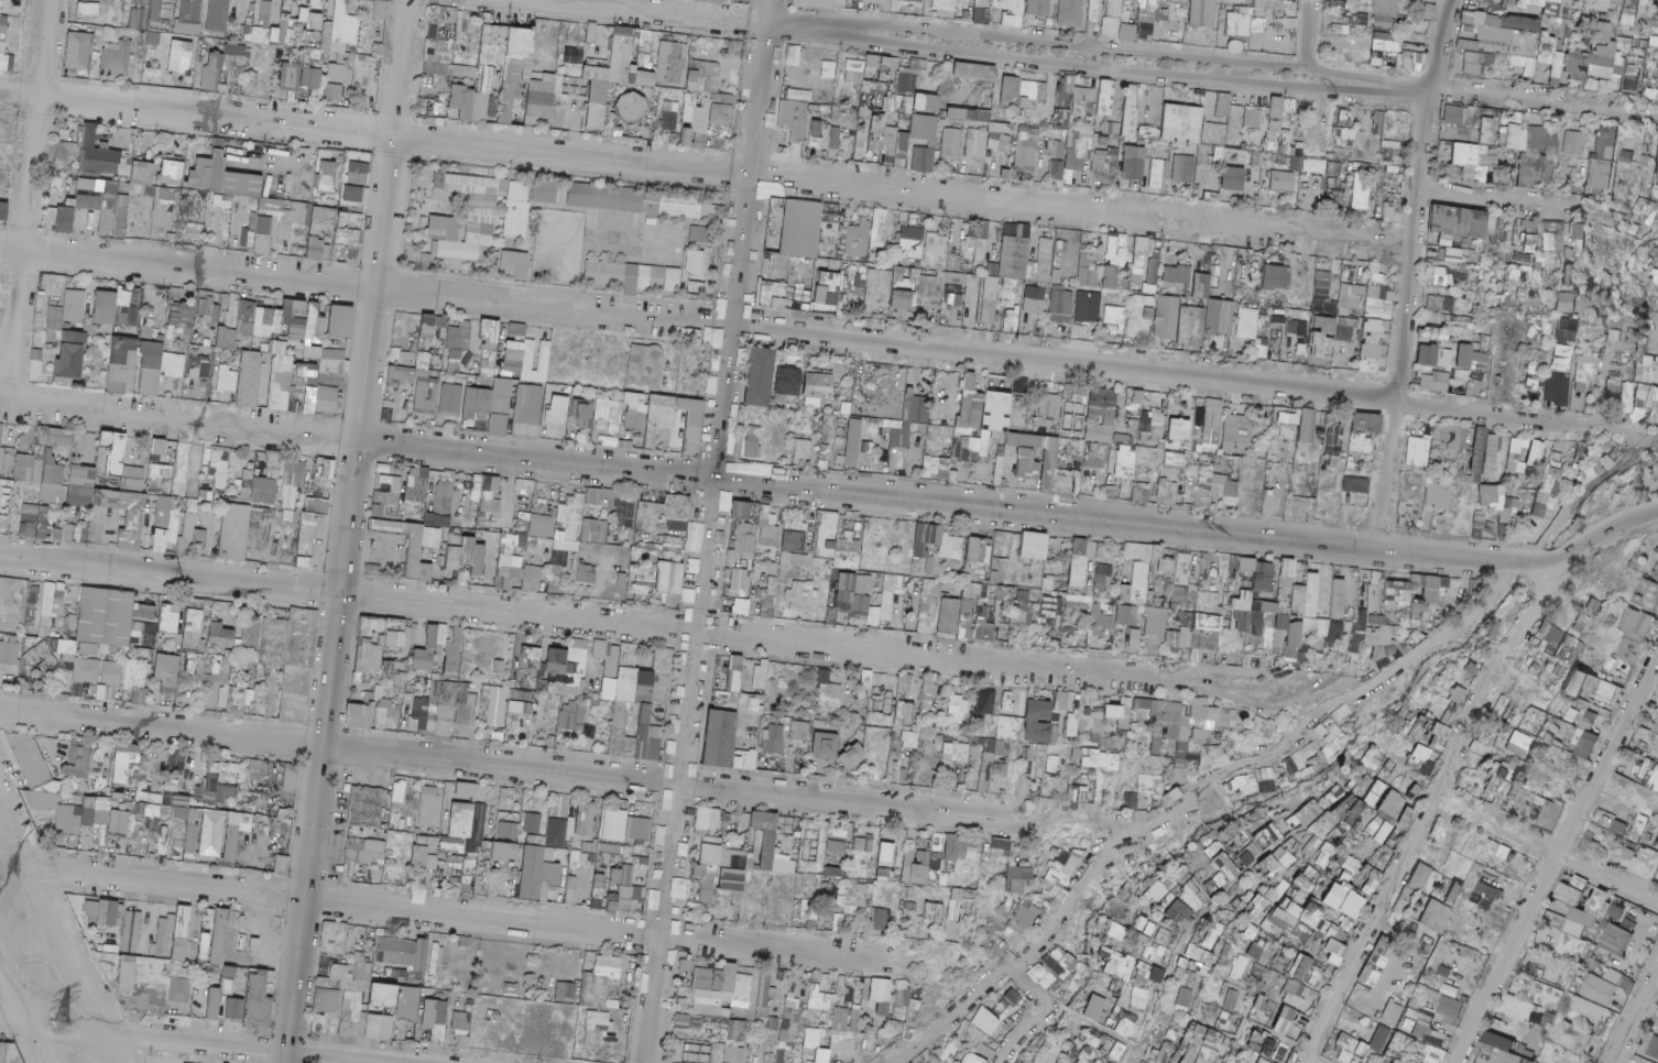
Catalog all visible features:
building: (915, 0)
building: (1493, 0)
building: (0, 1)
building: (141, 1)
building: (709, 1)
building: (1131, 1)
building: (812, 3)
building: (840, 3)
building: (0, 4)
building: (1268, 4)
building: (945, 6)
building: (341, 7)
building: (1038, 8)
building: (1557, 8)
building: (381, 10)
building: (1093, 10)
building: (91, 11)
building: (161, 11)
building: (190, 11)
building: (1630, 11)
building: (981, 12)
building: (1655, 12)
building: (1070, 13)
building: (1203, 13)
building: (1384, 13)
road: (717, 14)
building: (218, 17)
building: (139, 19)
building: (1359, 19)
building: (1011, 21)
building: (1240, 23)
building: (1259, 23)
building: (1520, 23)
building: (309, 24)
building: (262, 28)
building: (1486, 28)
building: (1343, 30)
building: (1602, 32)
building: (591, 33)
road: (1310, 33)
building: (6, 34)
building: (153, 39)
building: (1654, 41)
building: (1468, 45)
building: (1381, 46)
building: (79, 52)
building: (181, 55)
building: (574, 55)
building: (793, 55)
building: (117, 57)
building: (626, 58)
building: (1541, 58)
building: (216, 61)
building: (1411, 62)
building: (239, 63)
building: (672, 63)
building: (1475, 64)
building: (1577, 66)
building: (1601, 66)
building: (1623, 66)
building: (515, 67)
building: (342, 69)
building: (828, 69)
building: (854, 70)
building: (880, 70)
building: (1644, 70)
building: (975, 72)
building: (703, 76)
building: (291, 77)
building: (907, 86)
building: (1010, 90)
building: (1035, 90)
building: (334, 91)
building: (1066, 91)
building: (483, 94)
building: (597, 96)
building: (800, 96)
building: (542, 97)
building: (1105, 97)
building: (724, 99)
building: (462, 101)
building: (1084, 101)
building: (927, 102)
building: (1223, 106)
building: (632, 107)
building: (1130, 111)
building: (1476, 111)
building: (720, 114)
building: (969, 114)
building: (669, 116)
building: (1453, 116)
building: (1265, 117)
building: (1344, 117)
building: (1062, 119)
building: (1181, 123)
building: (1379, 123)
building: (1112, 128)
building: (696, 129)
building: (891, 130)
building: (1486, 130)
building: (875, 133)
building: (917, 134)
building: (1213, 134)
building: (1250, 134)
building: (825, 136)
building: (1344, 136)
building: (1510, 136)
building: (1540, 139)
building: (1000, 141)
building: (1103, 141)
building: (783, 143)
building: (1575, 143)
building: (1606, 143)
building: (951, 144)
building: (977, 144)
building: (1027, 149)
building: (1056, 150)
building: (1078, 151)
building: (98, 153)
building: (1465, 154)
building: (1626, 156)
building: (1257, 158)
building: (1296, 158)
building: (923, 160)
building: (1104, 162)
building: (1389, 162)
building: (1133, 163)
building: (1183, 168)
building: (1535, 169)
building: (1057, 171)
building: (142, 173)
building: (172, 173)
building: (358, 173)
building: (1157, 174)
building: (221, 177)
building: (325, 177)
building: (1600, 177)
building: (1233, 178)
building: (1283, 182)
building: (1133, 185)
building: (1363, 189)
building: (545, 191)
building: (163, 194)
building: (89, 195)
building: (352, 195)
building: (1211, 197)
road: (29, 198)
building: (604, 198)
building: (222, 200)
building: (1393, 208)
building: (119, 209)
building: (517, 209)
building: (484, 217)
building: (324, 219)
building: (65, 220)
building: (1464, 224)
building: (264, 227)
building: (800, 228)
building: (879, 228)
building: (193, 232)
building: (700, 234)
building: (1552, 239)
building: (857, 240)
building: (912, 242)
building: (936, 248)
building: (1060, 248)
building: (315, 249)
building: (1015, 251)
building: (429, 255)
building: (1453, 255)
building: (1568, 255)
building: (1138, 260)
building: (1046, 262)
building: (695, 263)
building: (830, 263)
road: (1415, 267)
building: (1513, 274)
building: (1525, 274)
building: (1177, 275)
building: (1569, 275)
building: (1440, 276)
building: (1458, 276)
building: (1088, 277)
building: (1110, 277)
building: (1277, 278)
building: (1537, 278)
building: (53, 285)
building: (881, 286)
building: (1201, 286)
building: (946, 287)
building: (828, 292)
building: (772, 294)
building: (1323, 294)
building: (1378, 295)
building: (1352, 297)
building: (989, 299)
building: (1008, 299)
building: (1034, 299)
building: (902, 300)
building: (76, 304)
building: (1061, 306)
building: (105, 308)
building: (1088, 308)
building: (208, 309)
building: (131, 316)
building: (1166, 317)
building: (1219, 317)
building: (54, 318)
building: (1139, 318)
building: (246, 319)
building: (181, 320)
building: (1011, 320)
building: (1115, 320)
building: (293, 321)
building: (340, 321)
building: (427, 327)
building: (517, 330)
building: (146, 331)
building: (459, 336)
building: (226, 338)
building: (712, 338)
building: (489, 348)
building: (528, 355)
building: (404, 357)
building: (513, 357)
building: (70, 359)
building: (423, 360)
building: (455, 361)
building: (332, 363)
building: (35, 365)
building: (122, 365)
building: (199, 366)
building: (156, 369)
building: (307, 373)
building: (402, 374)
building: (226, 377)
building: (280, 377)
building: (249, 379)
building: (328, 401)
building: (309, 405)
building: (1, 431)
road: (709, 530)
parking lot: (385, 555)
power tower: (56, 1004)
road: (13, 1031)

